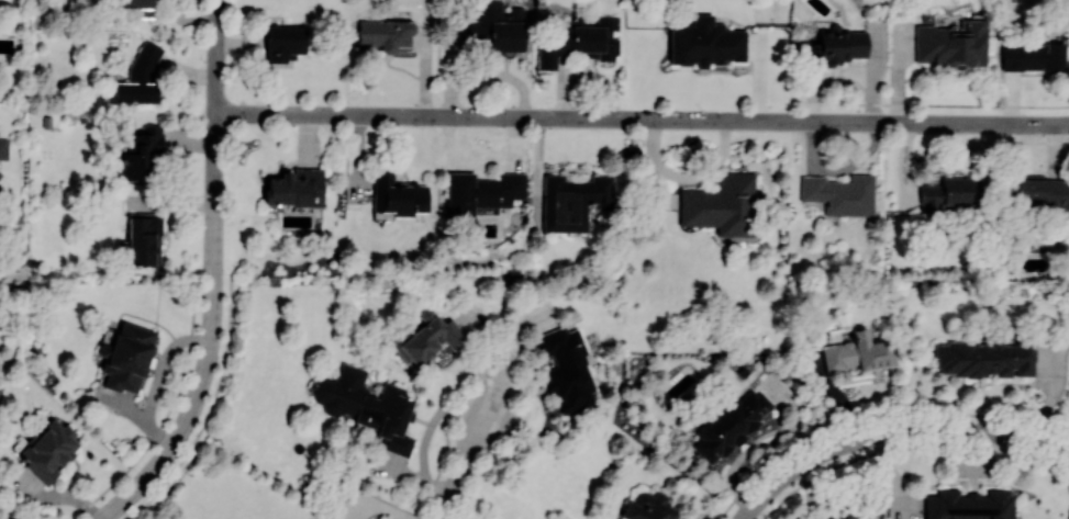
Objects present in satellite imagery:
building: (137, 3)
building: (499, 27)
building: (387, 34)
building: (598, 37)
building: (283, 42)
building: (705, 42)
building: (949, 44)
building: (831, 45)
building: (552, 47)
building: (1033, 57)
building: (140, 77)
road: (641, 119)
building: (3, 148)
building: (141, 151)
building: (296, 188)
building: (1044, 190)
building: (482, 191)
building: (839, 193)
building: (949, 193)
building: (399, 195)
building: (572, 201)
building: (721, 205)
building: (144, 238)
road: (208, 277)
building: (427, 337)
building: (858, 352)
building: (126, 356)
building: (984, 359)
building: (816, 360)
building: (566, 369)
building: (365, 405)
building: (731, 424)
road: (894, 435)
building: (48, 449)
road: (465, 469)
building: (968, 505)
building: (647, 507)
building: (849, 516)
road: (2, 517)
building: (831, 517)

